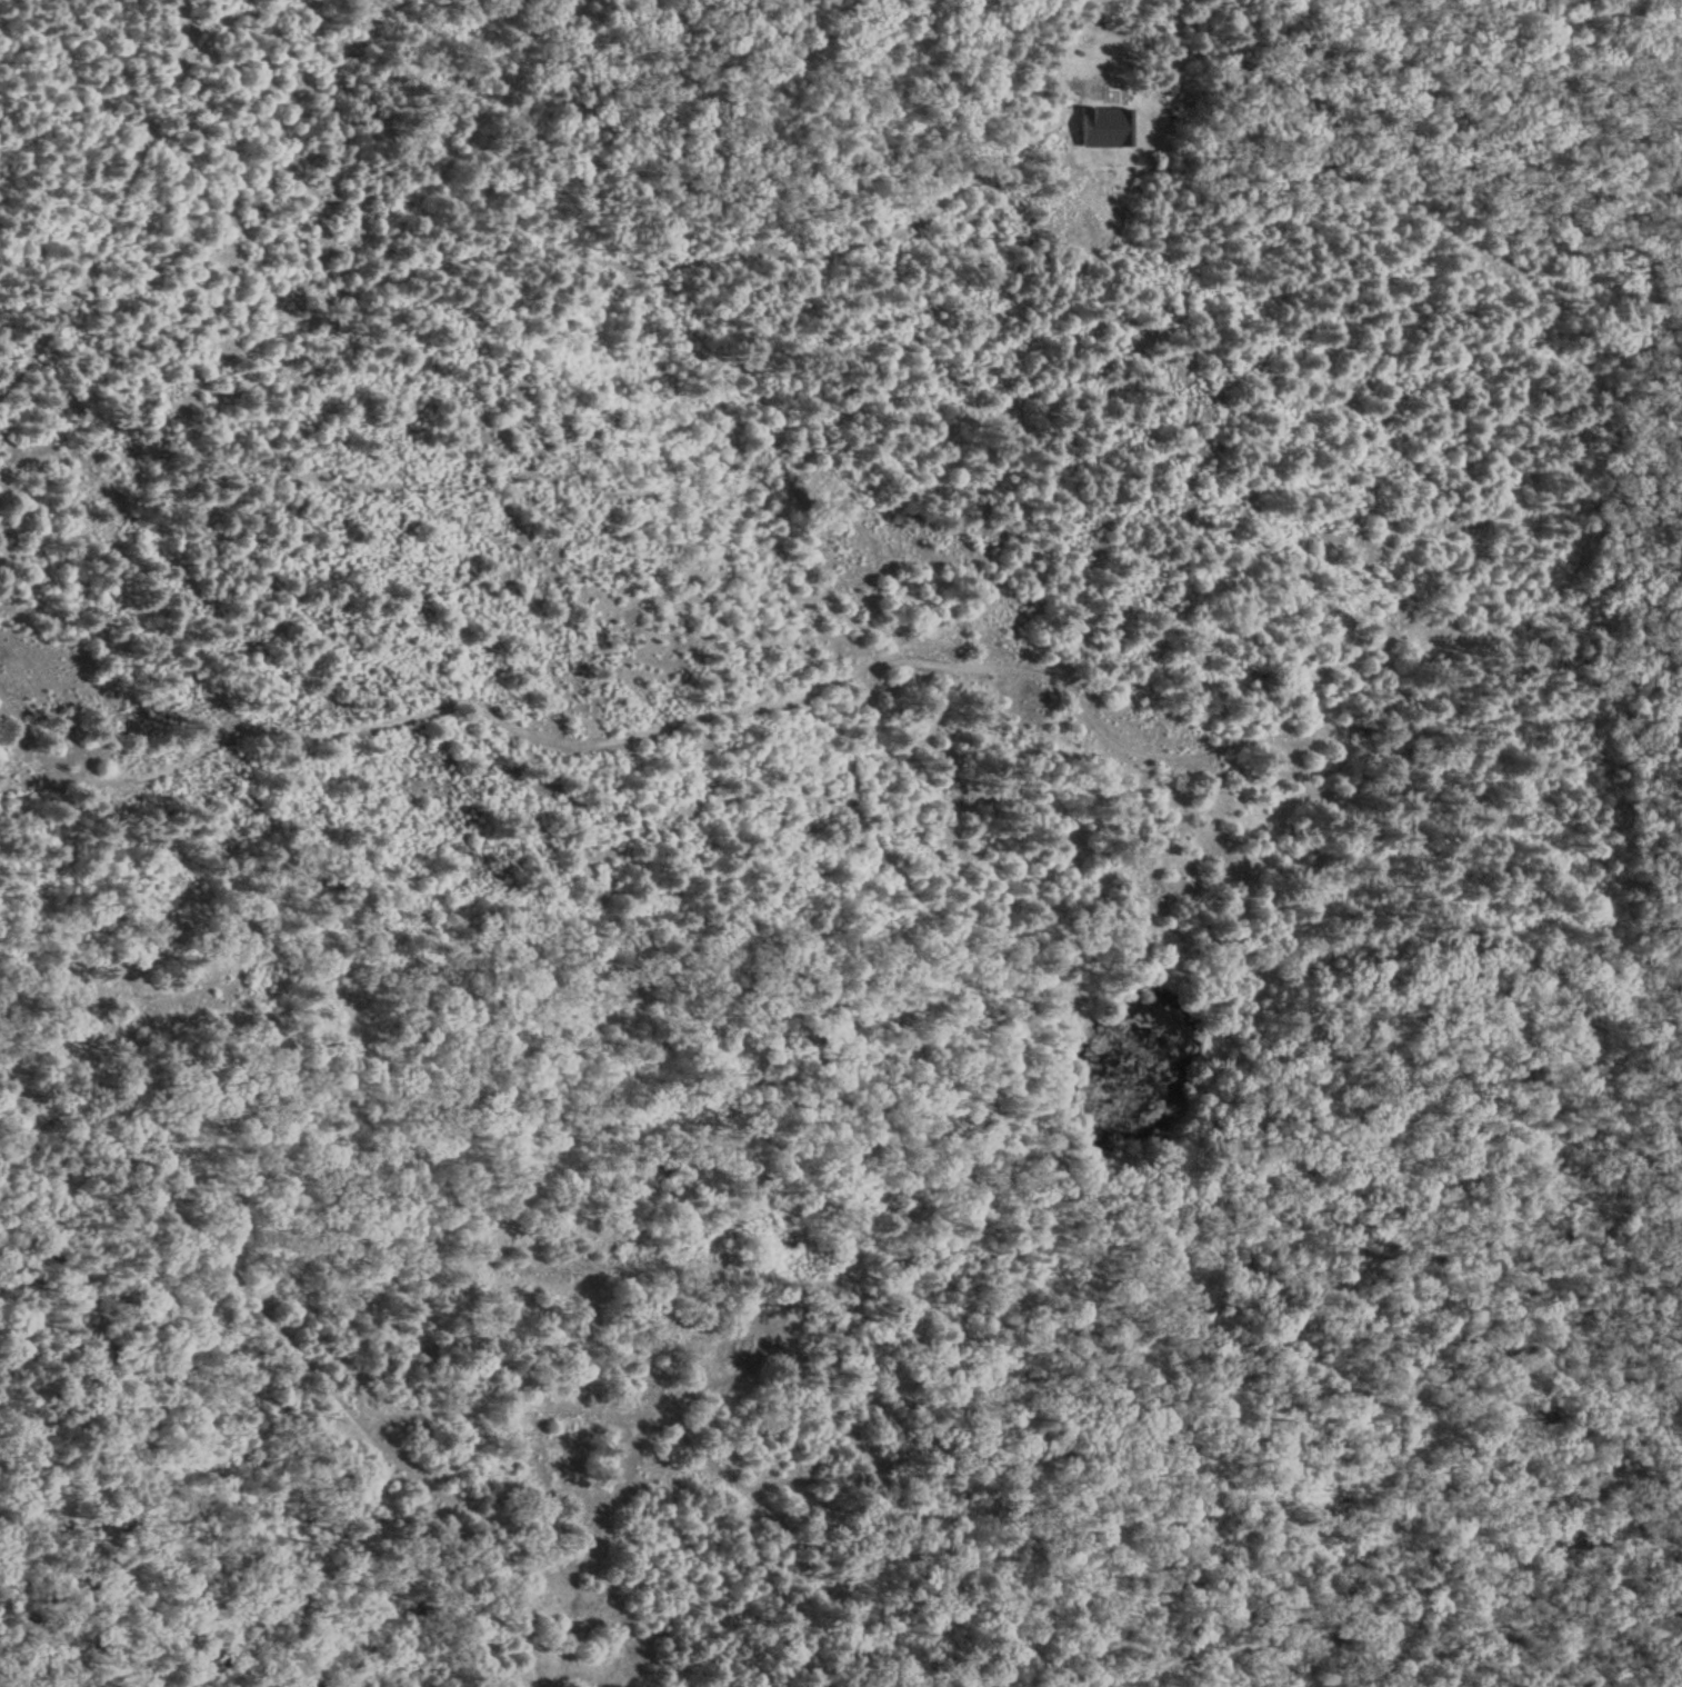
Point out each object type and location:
road: (1178, 8)

